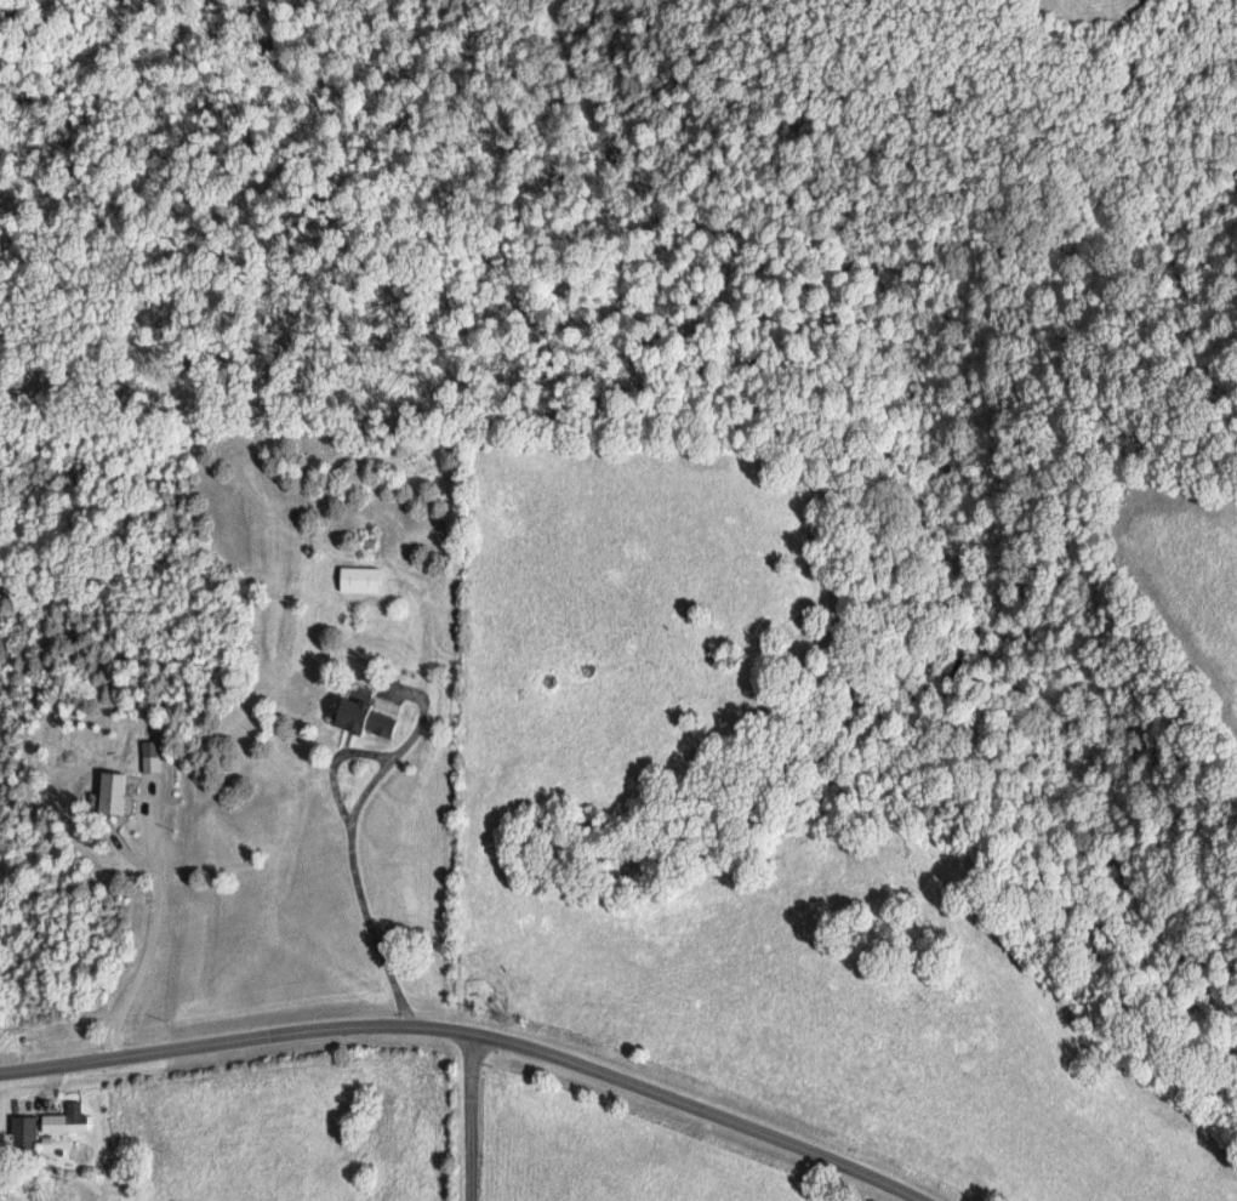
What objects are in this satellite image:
building: (363, 579)
building: (365, 715)
building: (154, 756)
road: (380, 792)
building: (116, 793)
road: (149, 937)
road: (486, 1030)
road: (51, 1082)
road: (466, 1112)
building: (70, 1121)
building: (27, 1134)

